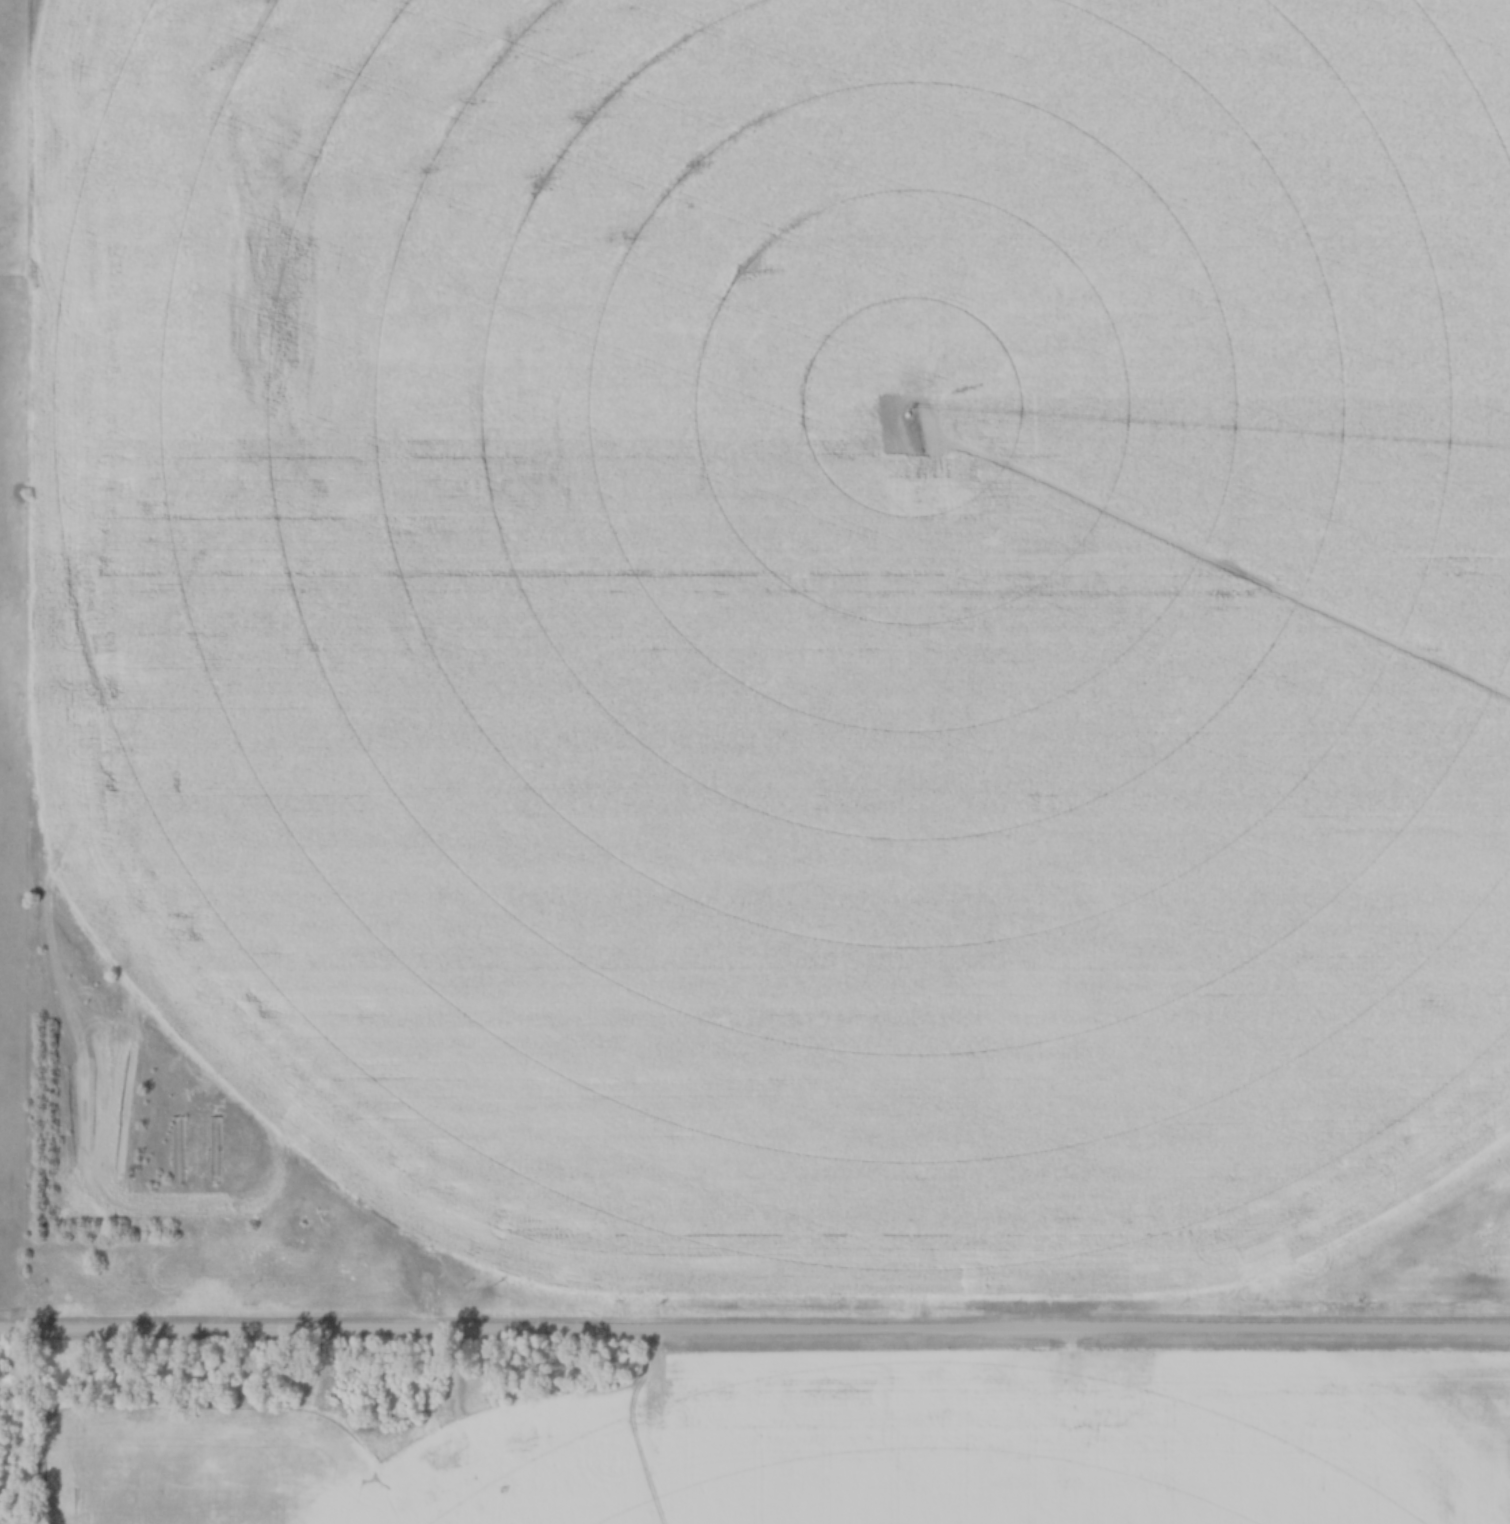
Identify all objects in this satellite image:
building: (176, 1150)
building: (214, 1151)
road: (755, 1336)

